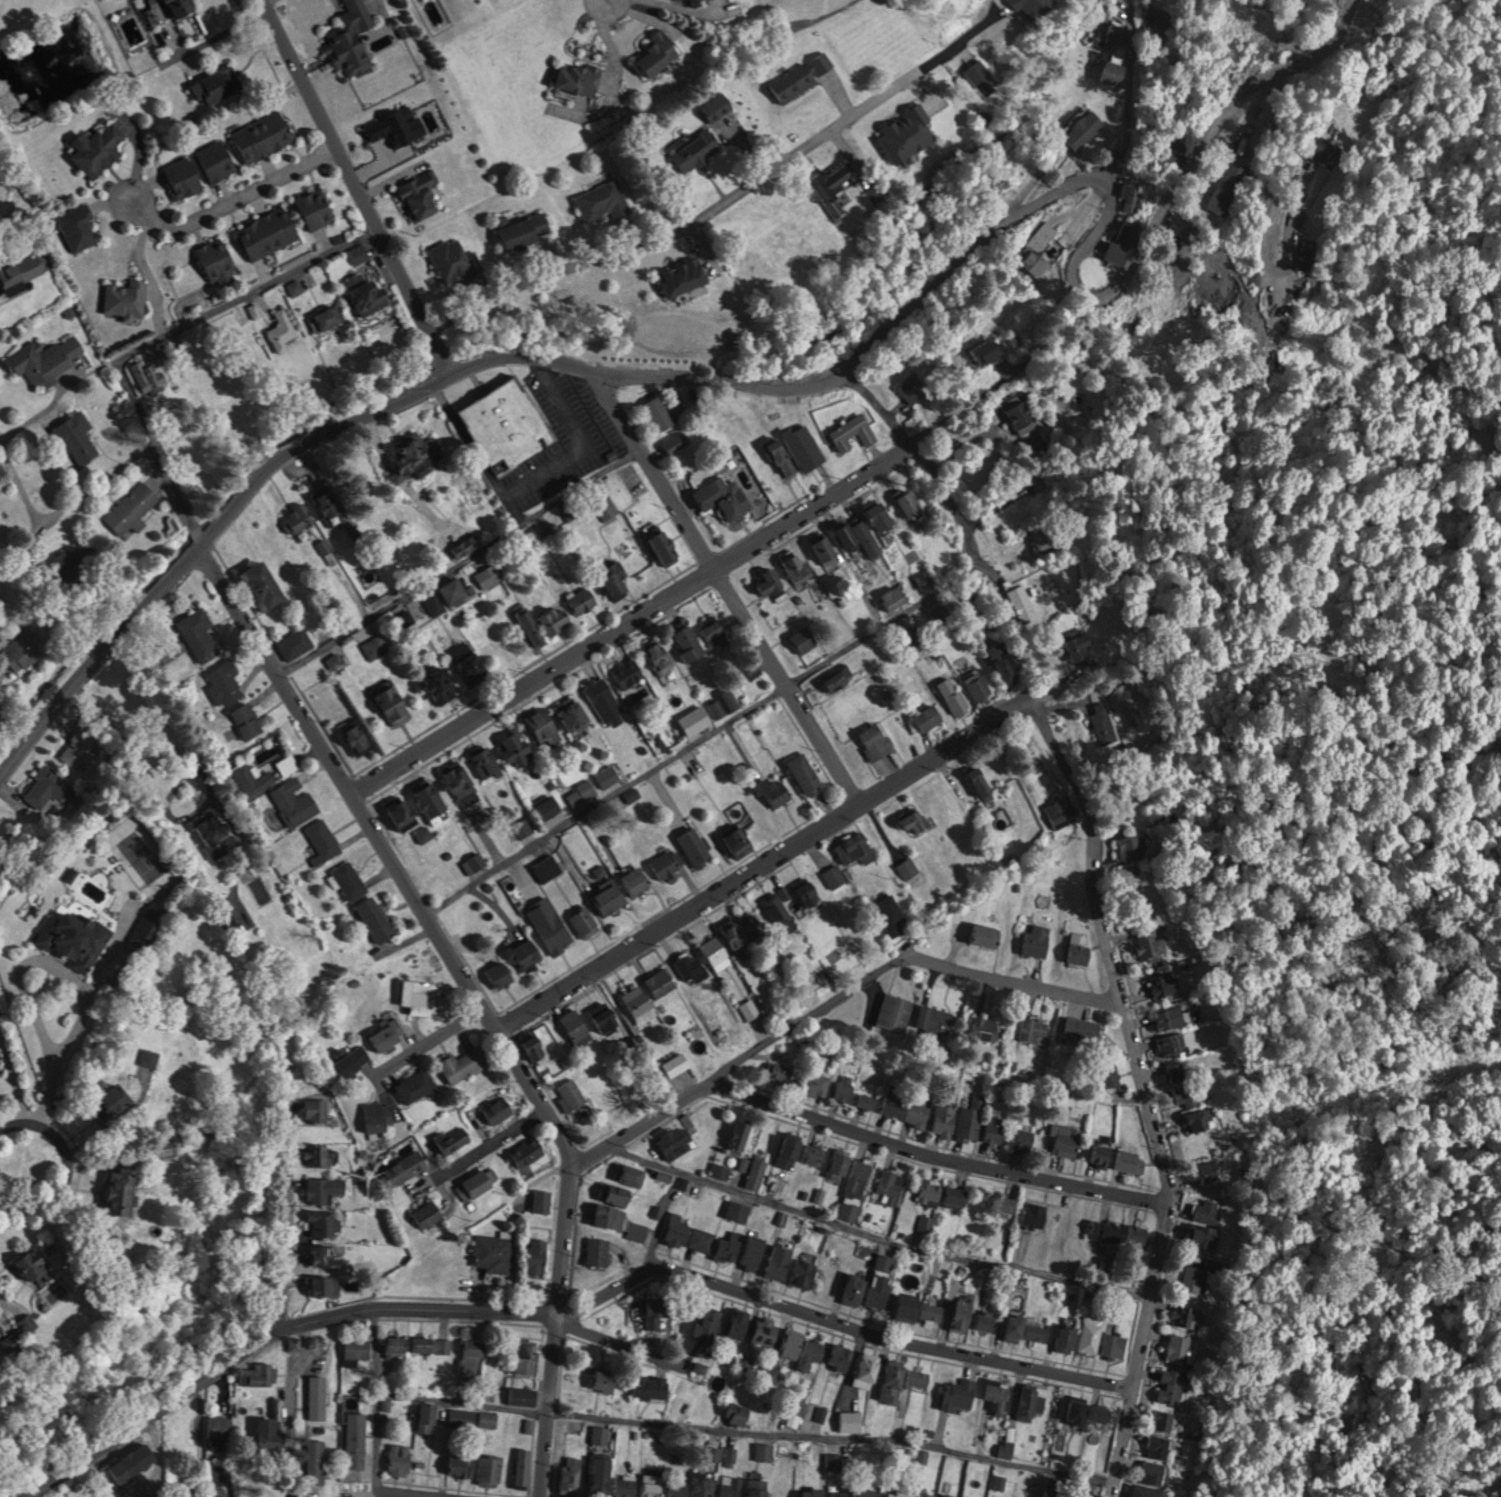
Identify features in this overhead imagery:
building: (153, 0)
building: (693, 0)
building: (183, 7)
building: (1155, 16)
building: (1105, 35)
building: (354, 37)
building: (1275, 48)
building: (663, 50)
road: (1284, 62)
building: (1112, 71)
building: (806, 75)
building: (581, 76)
building: (981, 77)
building: (217, 84)
road: (1130, 89)
building: (720, 106)
building: (396, 126)
building: (1083, 128)
building: (266, 134)
building: (98, 148)
building: (698, 149)
building: (1325, 150)
building: (218, 158)
road: (344, 163)
park: (16, 164)
building: (839, 175)
building: (184, 176)
building: (1227, 185)
building: (422, 194)
road: (233, 196)
building: (604, 201)
building: (317, 207)
road: (685, 225)
building: (80, 226)
building: (528, 230)
building: (269, 231)
building: (1188, 239)
building: (1120, 240)
building: (1039, 247)
building: (1304, 256)
building: (455, 258)
building: (218, 259)
building: (27, 268)
building: (684, 275)
road: (243, 294)
building: (376, 295)
building: (127, 297)
building: (332, 317)
building: (284, 324)
building: (991, 348)
road: (441, 349)
building: (613, 354)
building: (652, 356)
building: (47, 359)
building: (149, 374)
road: (688, 374)
building: (911, 389)
building: (678, 399)
building: (660, 413)
building: (1020, 415)
building: (509, 424)
building: (853, 432)
building: (79, 437)
building: (677, 441)
building: (804, 446)
building: (419, 454)
building: (783, 456)
road: (922, 461)
building: (725, 496)
building: (908, 502)
building: (329, 503)
road: (62, 508)
building: (134, 508)
building: (606, 508)
building: (880, 517)
building: (299, 519)
building: (1043, 536)
building: (859, 537)
road: (27, 544)
building: (666, 544)
building: (825, 549)
building: (81, 560)
road: (459, 562)
building: (797, 566)
building: (490, 574)
building: (617, 577)
building: (924, 579)
building: (770, 582)
building: (265, 584)
road: (723, 584)
building: (457, 591)
building: (894, 598)
building: (585, 600)
building: (1020, 601)
road: (629, 615)
building: (558, 618)
building: (531, 625)
building: (716, 630)
building: (200, 633)
building: (805, 637)
building: (918, 638)
building: (296, 643)
building: (689, 643)
building: (375, 646)
building: (1081, 646)
building: (24, 648)
building: (659, 655)
building: (1007, 660)
building: (475, 661)
building: (628, 672)
building: (836, 678)
building: (225, 682)
building: (443, 684)
building: (978, 685)
building: (954, 696)
building: (604, 698)
building: (393, 701)
building: (718, 707)
building: (576, 715)
building: (929, 717)
building: (249, 720)
building: (1102, 724)
building: (546, 729)
building: (359, 738)
road: (697, 739)
building: (877, 740)
building: (80, 745)
building: (519, 745)
building: (486, 759)
building: (289, 764)
building: (808, 773)
building: (254, 778)
building: (464, 779)
building: (982, 782)
building: (775, 790)
building: (48, 791)
building: (582, 791)
building: (436, 799)
building: (296, 800)
building: (549, 804)
building: (407, 811)
building: (1058, 811)
building: (917, 819)
building: (523, 826)
building: (217, 829)
building: (742, 837)
building: (325, 838)
building: (698, 846)
building: (856, 848)
park: (143, 855)
building: (475, 862)
road: (761, 862)
building: (667, 863)
building: (548, 867)
building: (906, 867)
building: (834, 875)
building: (352, 879)
building: (638, 879)
building: (807, 891)
building: (611, 897)
building: (776, 906)
road: (423, 911)
building: (890, 914)
building: (380, 918)
building: (585, 921)
building: (742, 927)
building: (985, 933)
building: (78, 937)
building: (1037, 939)
building: (1150, 947)
building: (1078, 948)
building: (715, 951)
building: (527, 955)
building: (690, 965)
building: (501, 974)
building: (661, 982)
building: (1165, 983)
building: (424, 995)
road: (833, 998)
building: (638, 1000)
building: (750, 1008)
road: (81, 1010)
building: (895, 1012)
building: (607, 1017)
building: (1171, 1018)
building: (936, 1019)
building: (578, 1026)
building: (1086, 1027)
building: (987, 1028)
building: (1034, 1030)
building: (389, 1035)
road: (426, 1040)
building: (1172, 1044)
building: (538, 1046)
building: (152, 1057)
building: (353, 1061)
building: (1, 1062)
building: (679, 1063)
building: (464, 1064)
building: (1176, 1071)
building: (780, 1072)
building: (1111, 1076)
building: (818, 1083)
building: (417, 1085)
building: (846, 1088)
road: (1141, 1091)
building: (574, 1094)
building: (1187, 1094)
building: (120, 1098)
building: (868, 1100)
building: (893, 1101)
building: (317, 1109)
building: (499, 1109)
building: (381, 1114)
building: (919, 1114)
building: (971, 1118)
building: (1199, 1119)
building: (945, 1120)
building: (995, 1128)
building: (740, 1134)
building: (1066, 1139)
building: (452, 1140)
building: (1025, 1140)
building: (676, 1141)
road: (495, 1143)
building: (529, 1151)
building: (790, 1151)
building: (318, 1154)
building: (813, 1154)
road: (931, 1154)
building: (1105, 1155)
building: (1133, 1160)
building: (841, 1162)
road: (73, 1165)
building: (408, 1165)
building: (631, 1173)
building: (756, 1173)
building: (859, 1178)
building: (479, 1183)
building: (888, 1186)
building: (325, 1188)
building: (127, 1191)
building: (617, 1193)
building: (929, 1193)
building: (957, 1196)
building: (544, 1200)
building: (1002, 1203)
building: (1206, 1209)
building: (429, 1213)
road: (283, 1215)
building: (610, 1215)
building: (1035, 1215)
building: (322, 1223)
building: (638, 1230)
building: (1107, 1230)
building: (689, 1234)
road: (871, 1235)
building: (1203, 1235)
building: (730, 1246)
building: (600, 1251)
building: (755, 1252)
building: (495, 1253)
building: (330, 1255)
building: (539, 1255)
building: (780, 1261)
building: (37, 1267)
building: (805, 1273)
building: (1193, 1277)
building: (881, 1280)
building: (324, 1285)
building: (853, 1287)
building: (919, 1308)
building: (655, 1311)
building: (1182, 1314)
building: (962, 1315)
building: (985, 1321)
building: (708, 1322)
road: (835, 1322)
building: (31, 1324)
building: (738, 1325)
building: (1024, 1328)
building: (766, 1331)
road: (262, 1333)
building: (1090, 1335)
building: (1067, 1337)
building: (17, 1340)
road: (621, 1340)
building: (431, 1343)
building: (1114, 1343)
building: (397, 1344)
building: (792, 1344)
building: (1177, 1346)
building: (357, 1347)
building: (813, 1352)
building: (471, 1356)
building: (528, 1357)
building: (841, 1357)
building: (869, 1368)
building: (257, 1373)
building: (919, 1377)
building: (608, 1380)
building: (893, 1381)
building: (650, 1386)
building: (1173, 1386)
building: (959, 1394)
building: (998, 1394)
building: (516, 1395)
building: (318, 1396)
road: (379, 1396)
building: (1030, 1400)
road: (289, 1405)
building: (1089, 1411)
building: (736, 1412)
building: (430, 1416)
building: (461, 1416)
building: (490, 1418)
building: (1163, 1419)
building: (849, 1420)
building: (218, 1431)
road: (746, 1431)
building: (600, 1433)
building: (272, 1434)
building: (357, 1440)
building: (1159, 1446)
building: (764, 1451)
building: (400, 1459)
building: (833, 1460)
building: (315, 1461)
building: (133, 1463)
building: (460, 1465)
building: (524, 1466)
building: (491, 1470)
building: (1153, 1471)
building: (571, 1474)
building: (603, 1476)
building: (653, 1482)
building: (704, 1484)
building: (731, 1485)
building: (627, 1486)
road: (1494, 1486)
building: (759, 1487)
building: (680, 1489)
building: (810, 1491)
building: (862, 1491)
building: (1148, 1491)
road: (409, 1493)
building: (837, 1493)
building: (924, 1493)
building: (890, 1495)
building: (945, 1496)

